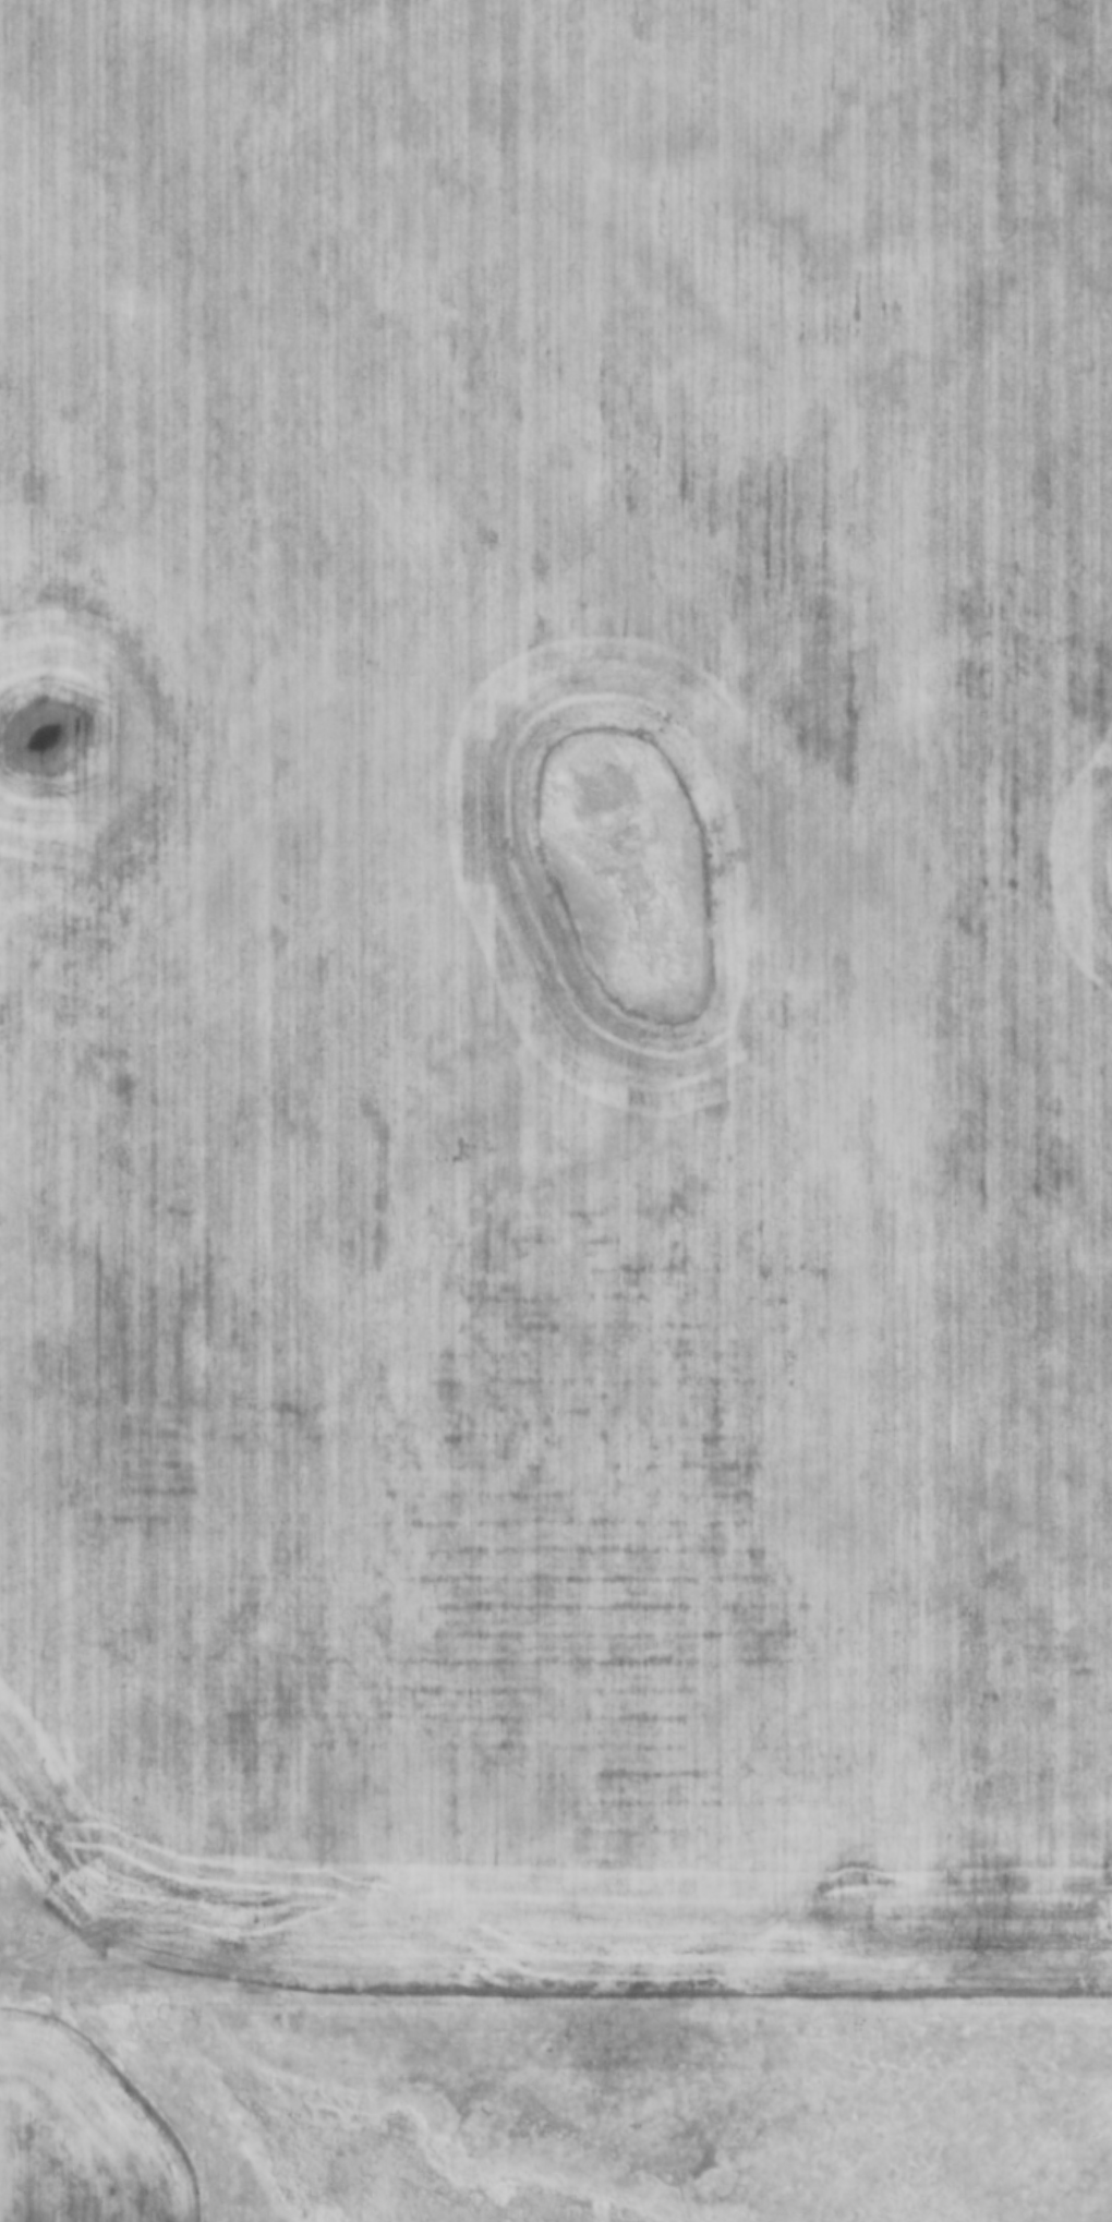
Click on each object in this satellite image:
road: (556, 1989)

